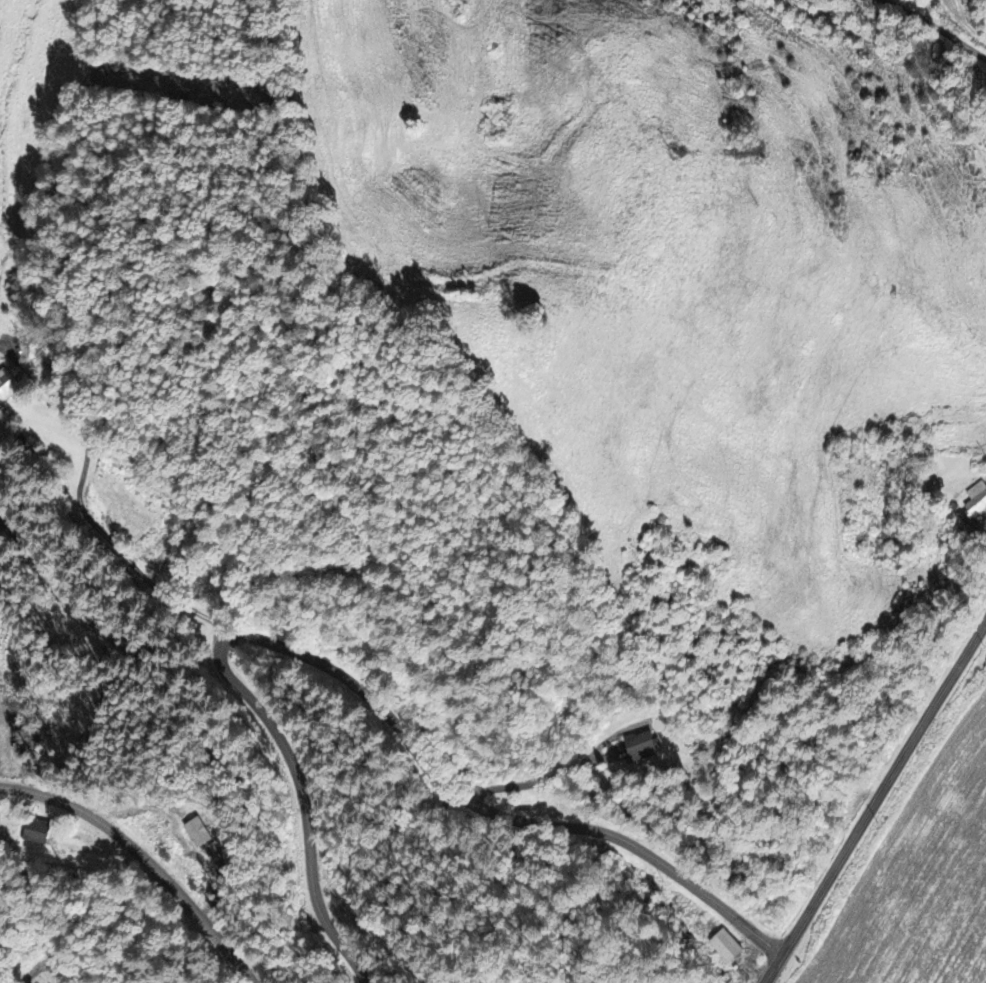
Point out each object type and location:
road: (936, 29)
building: (7, 382)
building: (976, 501)
road: (81, 512)
road: (348, 678)
building: (644, 746)
road: (875, 803)
building: (40, 831)
building: (198, 832)
road: (146, 858)
building: (727, 945)

